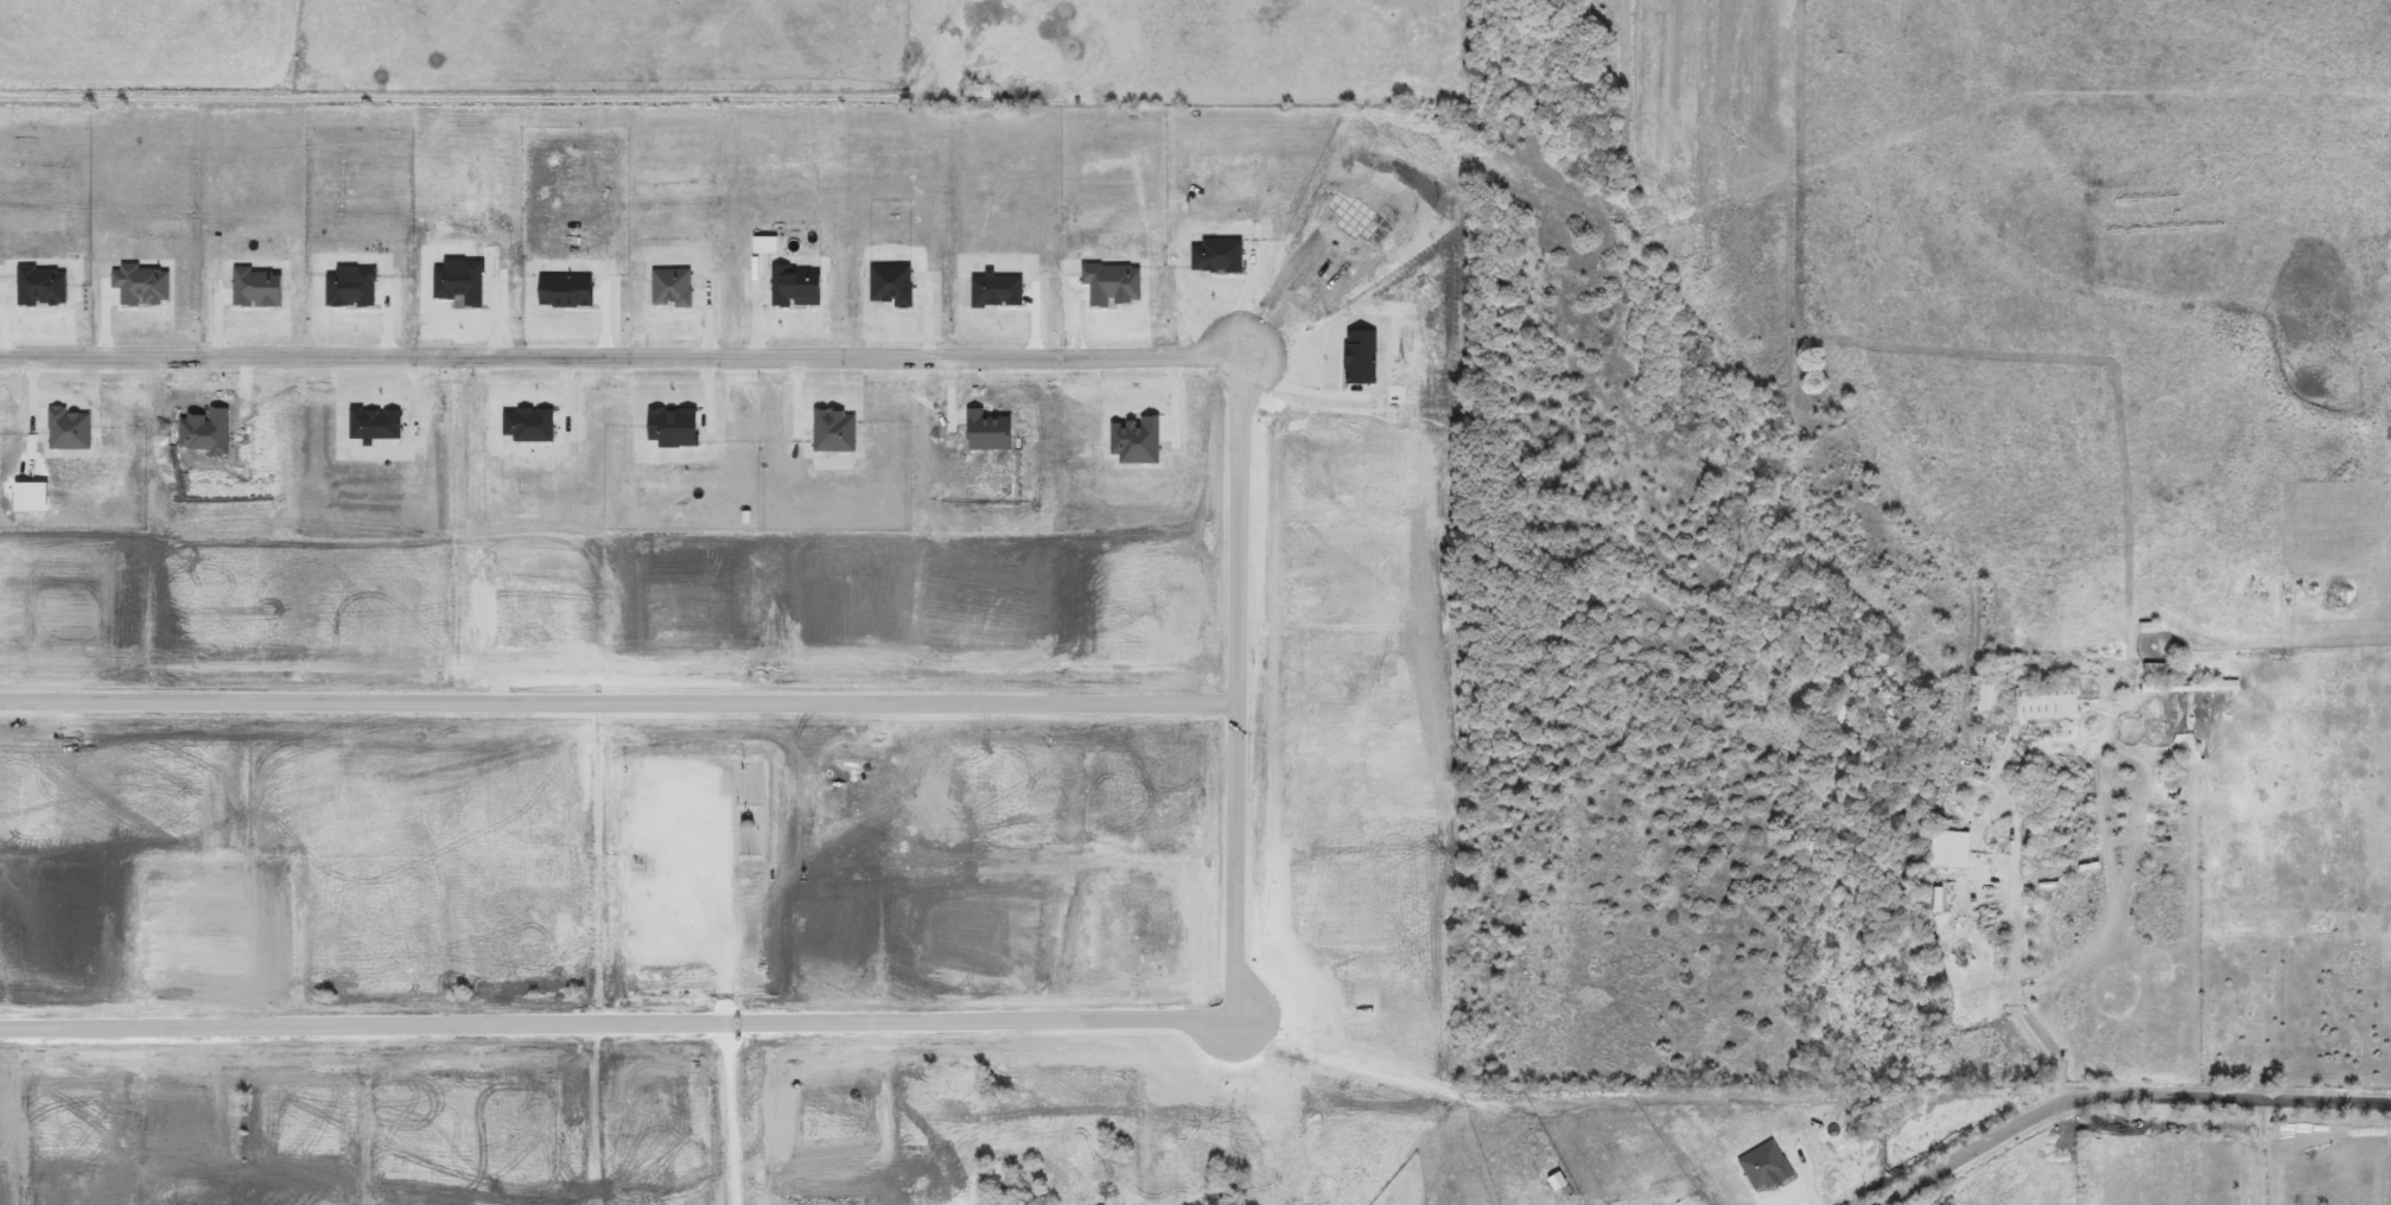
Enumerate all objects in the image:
airport runway: (1672, 77)
road: (1306, 394)
airport: (1641, 547)
road: (1235, 683)
building: (2190, 687)
road: (617, 702)
building: (2047, 702)
building: (1933, 780)
building: (1951, 849)
road: (2018, 925)
road: (2128, 1096)
road: (2269, 1153)
building: (1001, 1174)

